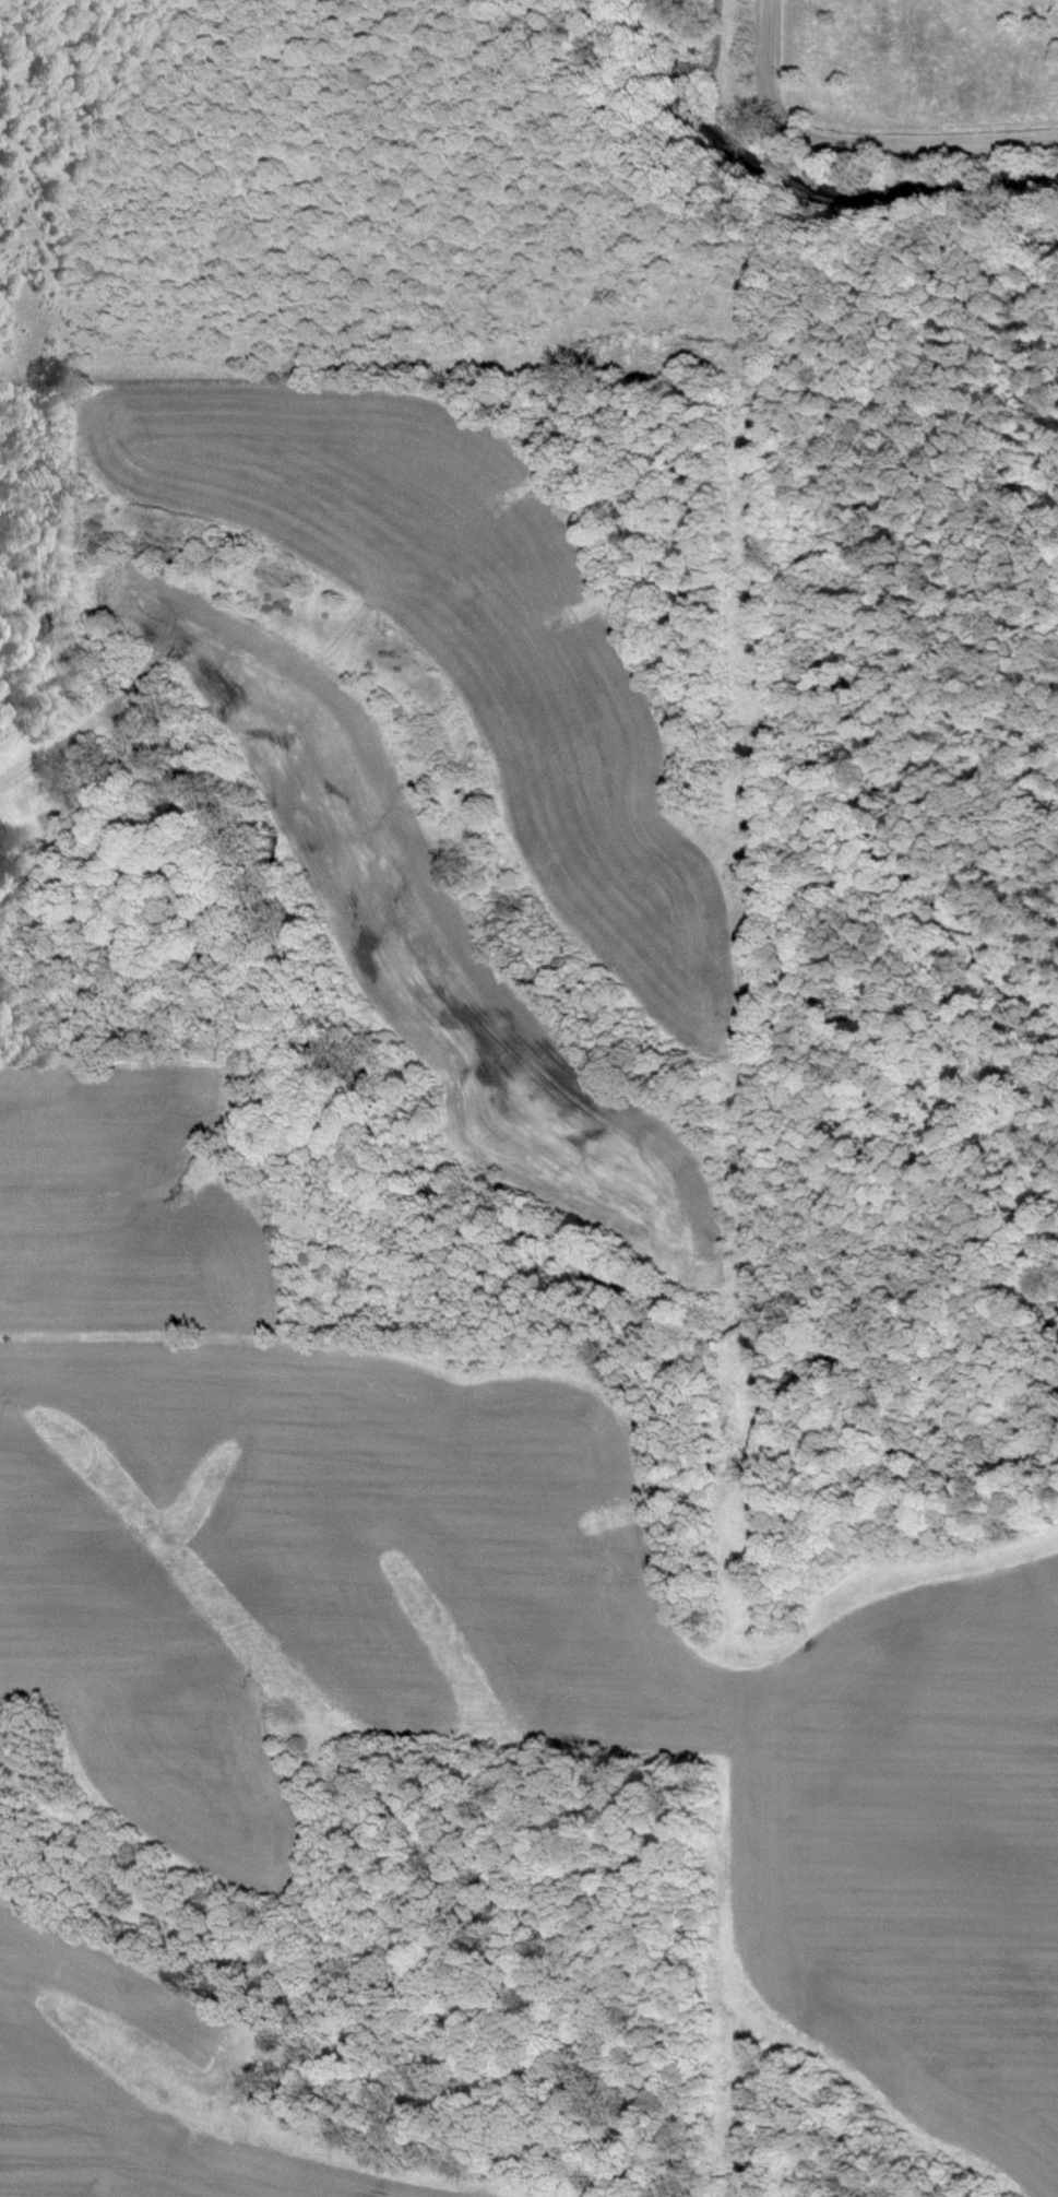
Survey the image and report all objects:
road: (853, 145)

